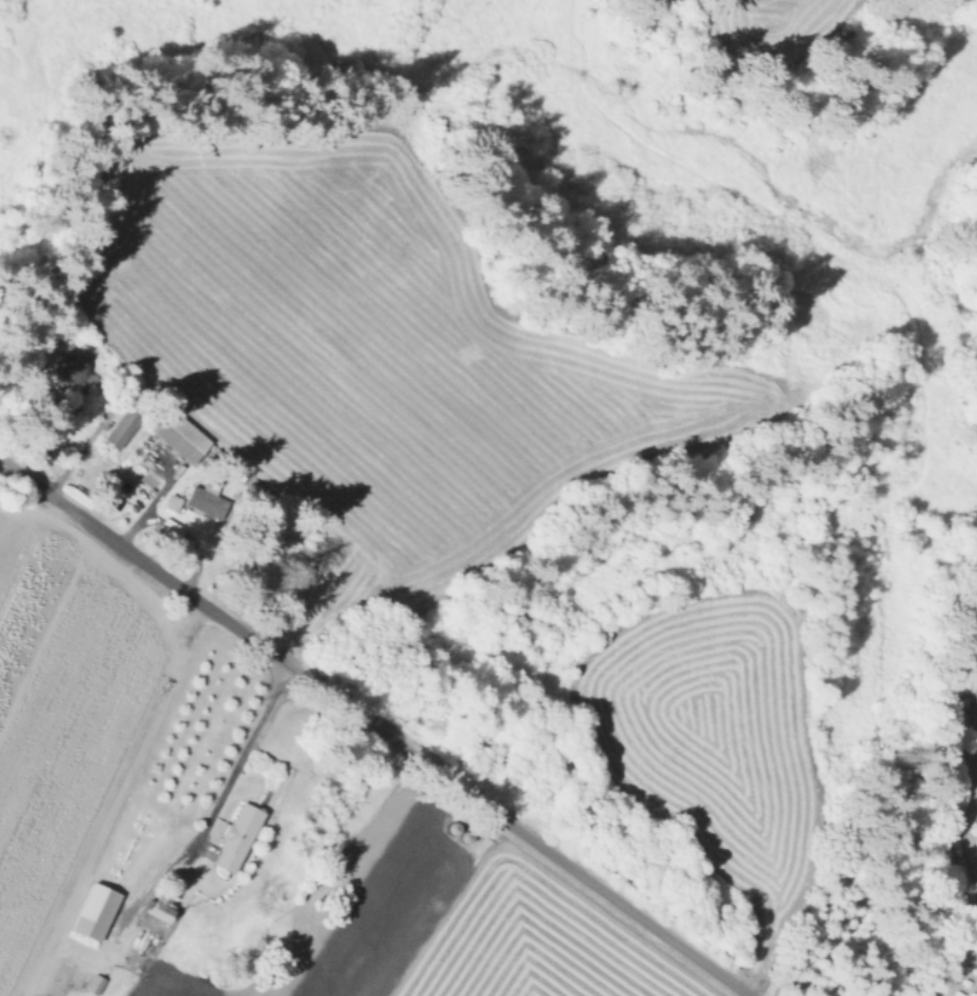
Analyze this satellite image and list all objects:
building: (74, 366)
building: (121, 432)
building: (176, 436)
road: (78, 447)
road: (375, 727)
road: (246, 745)
building: (232, 838)
crop: (258, 843)
building: (158, 909)
building: (92, 913)
building: (93, 986)

